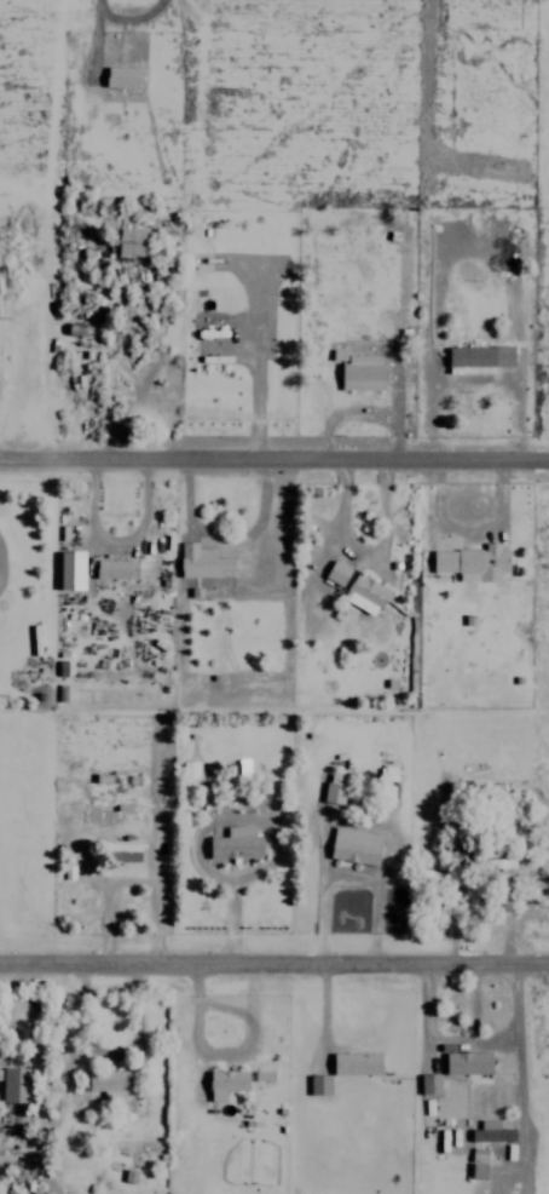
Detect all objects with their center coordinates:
building: (123, 76)
building: (131, 241)
building: (478, 357)
building: (362, 372)
road: (273, 455)
building: (200, 561)
building: (472, 562)
building: (115, 568)
building: (70, 569)
building: (336, 572)
building: (365, 593)
building: (189, 768)
building: (333, 788)
building: (236, 843)
building: (354, 845)
building: (122, 851)
road: (274, 960)
building: (467, 1062)
building: (356, 1063)
building: (262, 1075)
building: (110, 1081)
building: (225, 1083)
building: (319, 1084)
building: (429, 1084)
building: (15, 1085)
building: (491, 1132)
building: (478, 1163)
building: (129, 1176)

